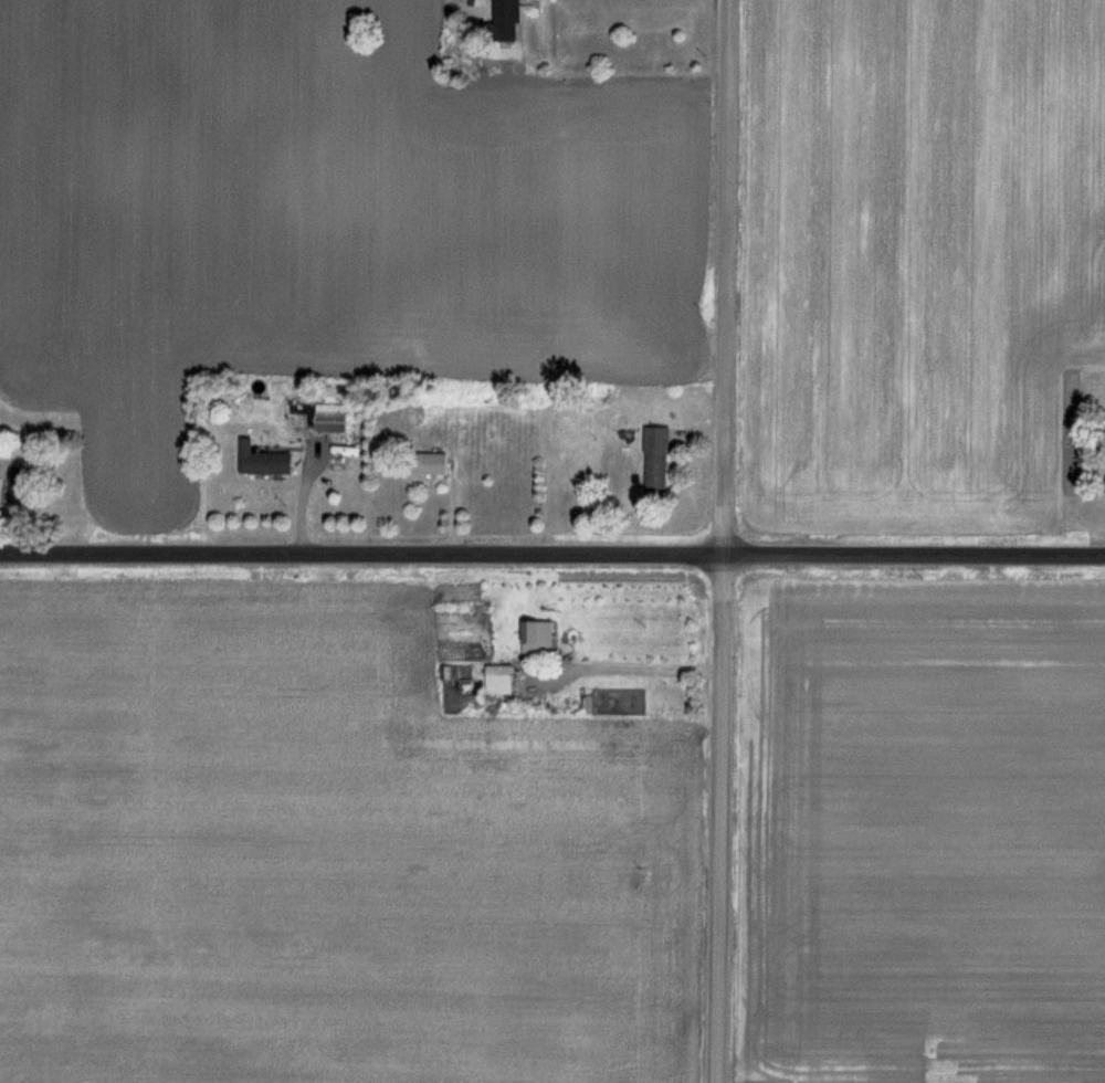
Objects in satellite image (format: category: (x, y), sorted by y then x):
building: (512, 20)
building: (334, 419)
building: (354, 448)
building: (266, 461)
building: (659, 462)
building: (432, 465)
building: (23, 486)
road: (732, 541)
road: (552, 555)
building: (539, 639)
building: (503, 681)

